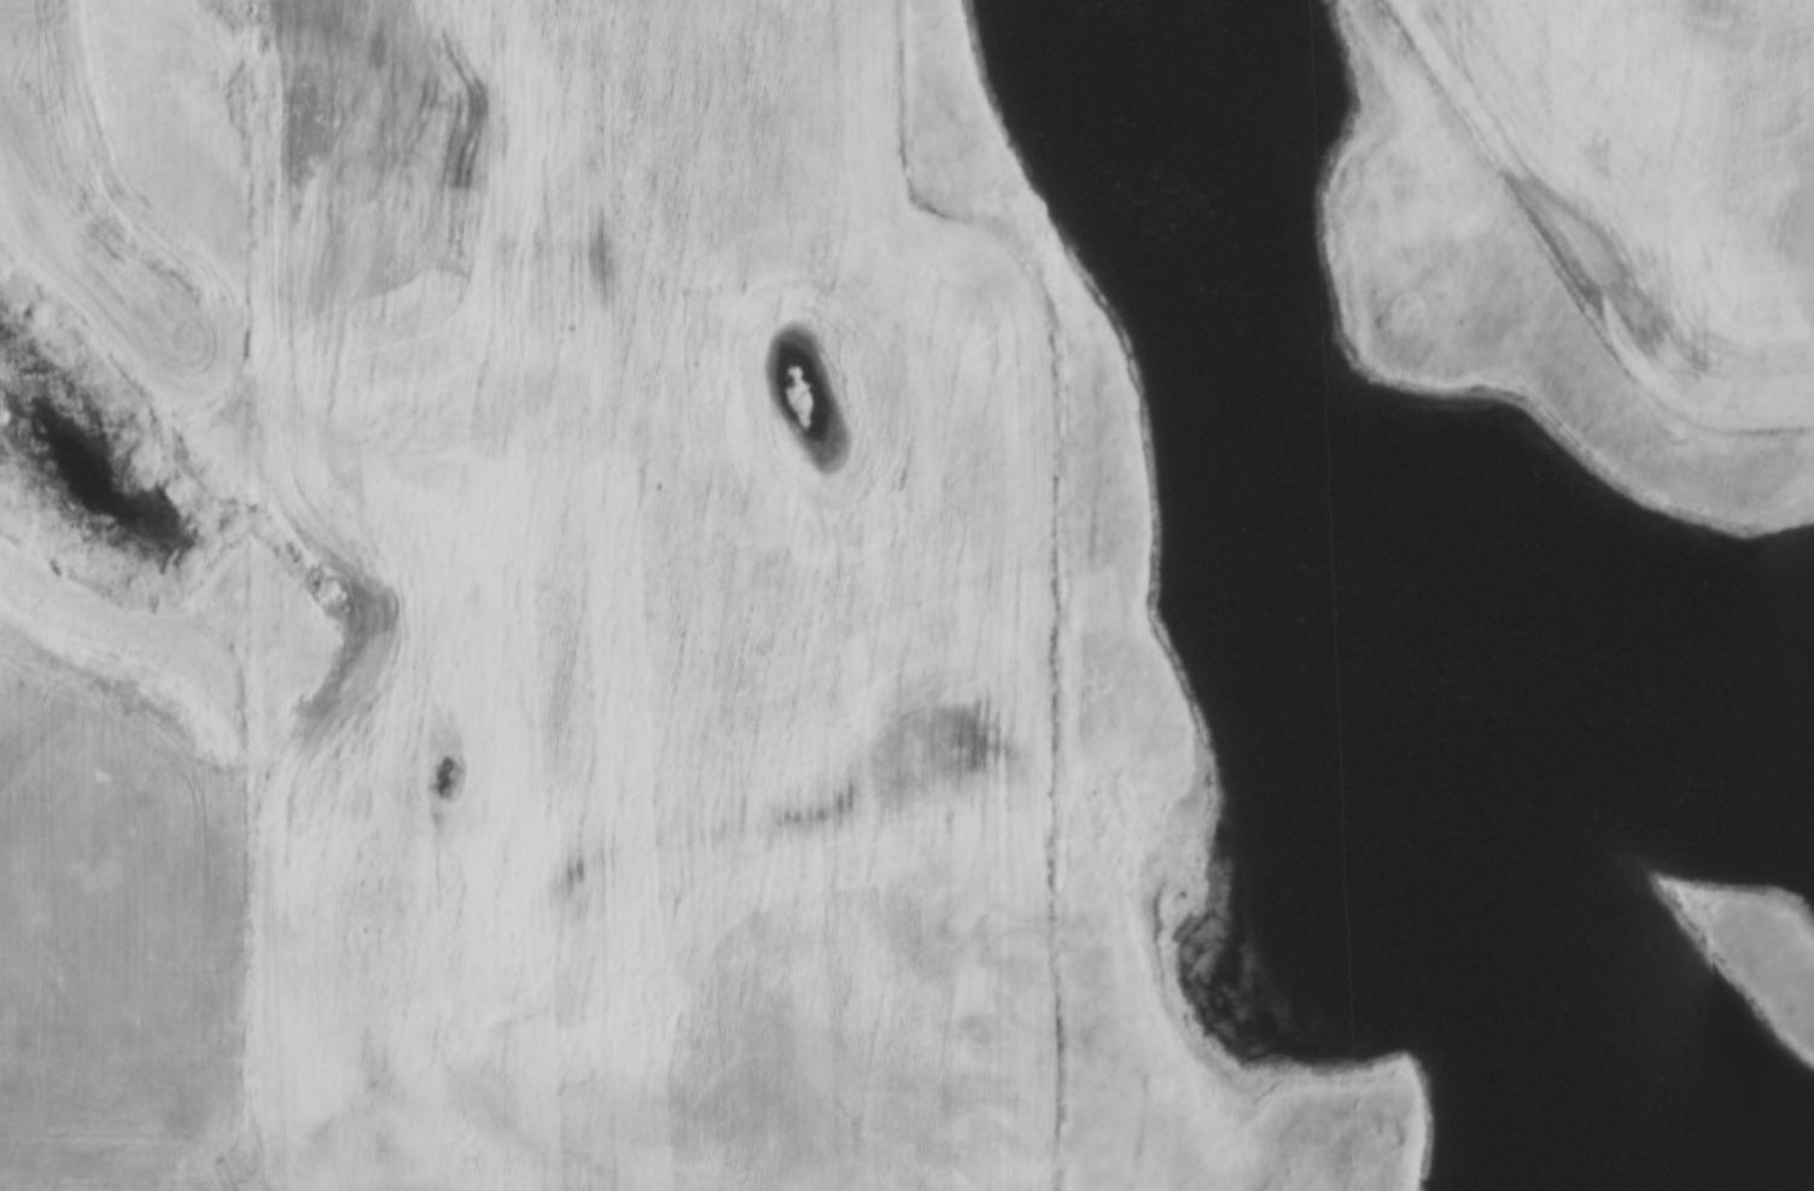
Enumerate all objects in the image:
road: (132, 1164)
road: (264, 1180)

